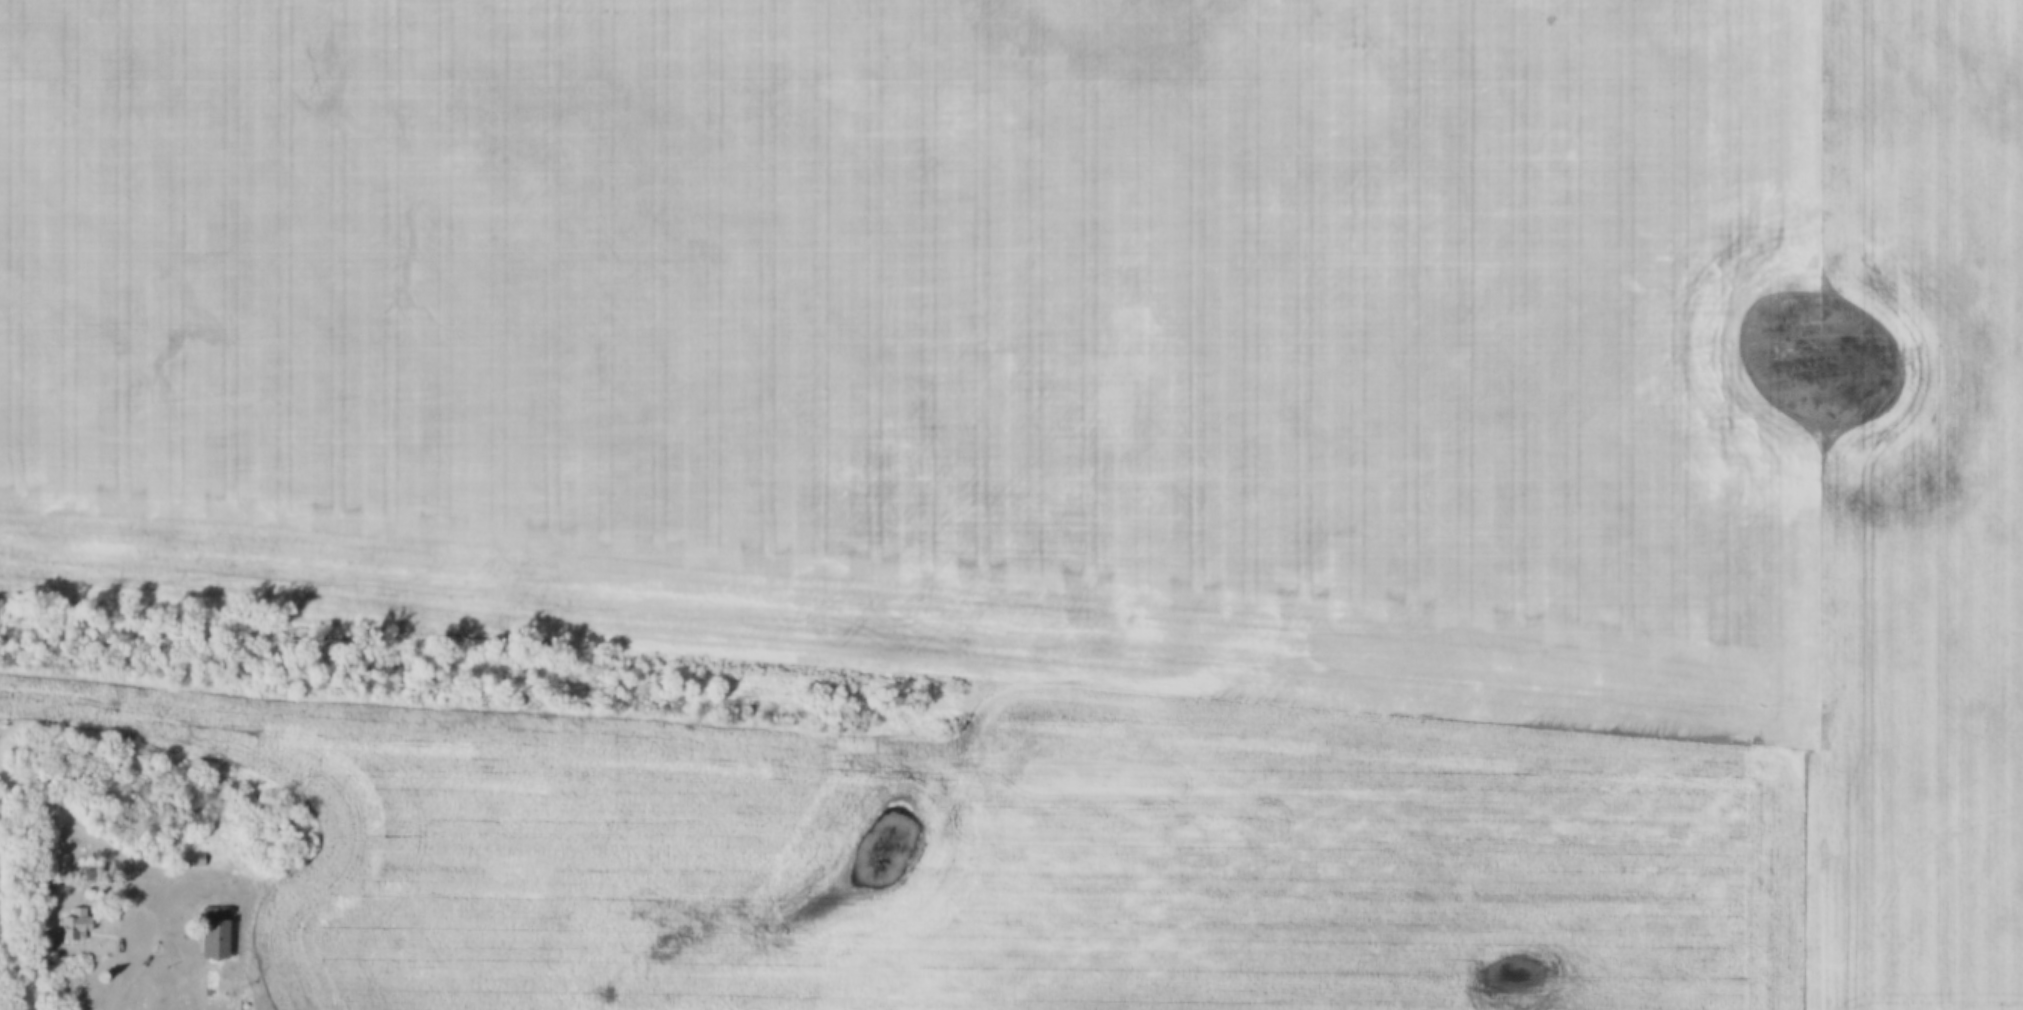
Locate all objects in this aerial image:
building: (70, 923)
building: (210, 932)
road: (127, 967)
building: (85, 985)

